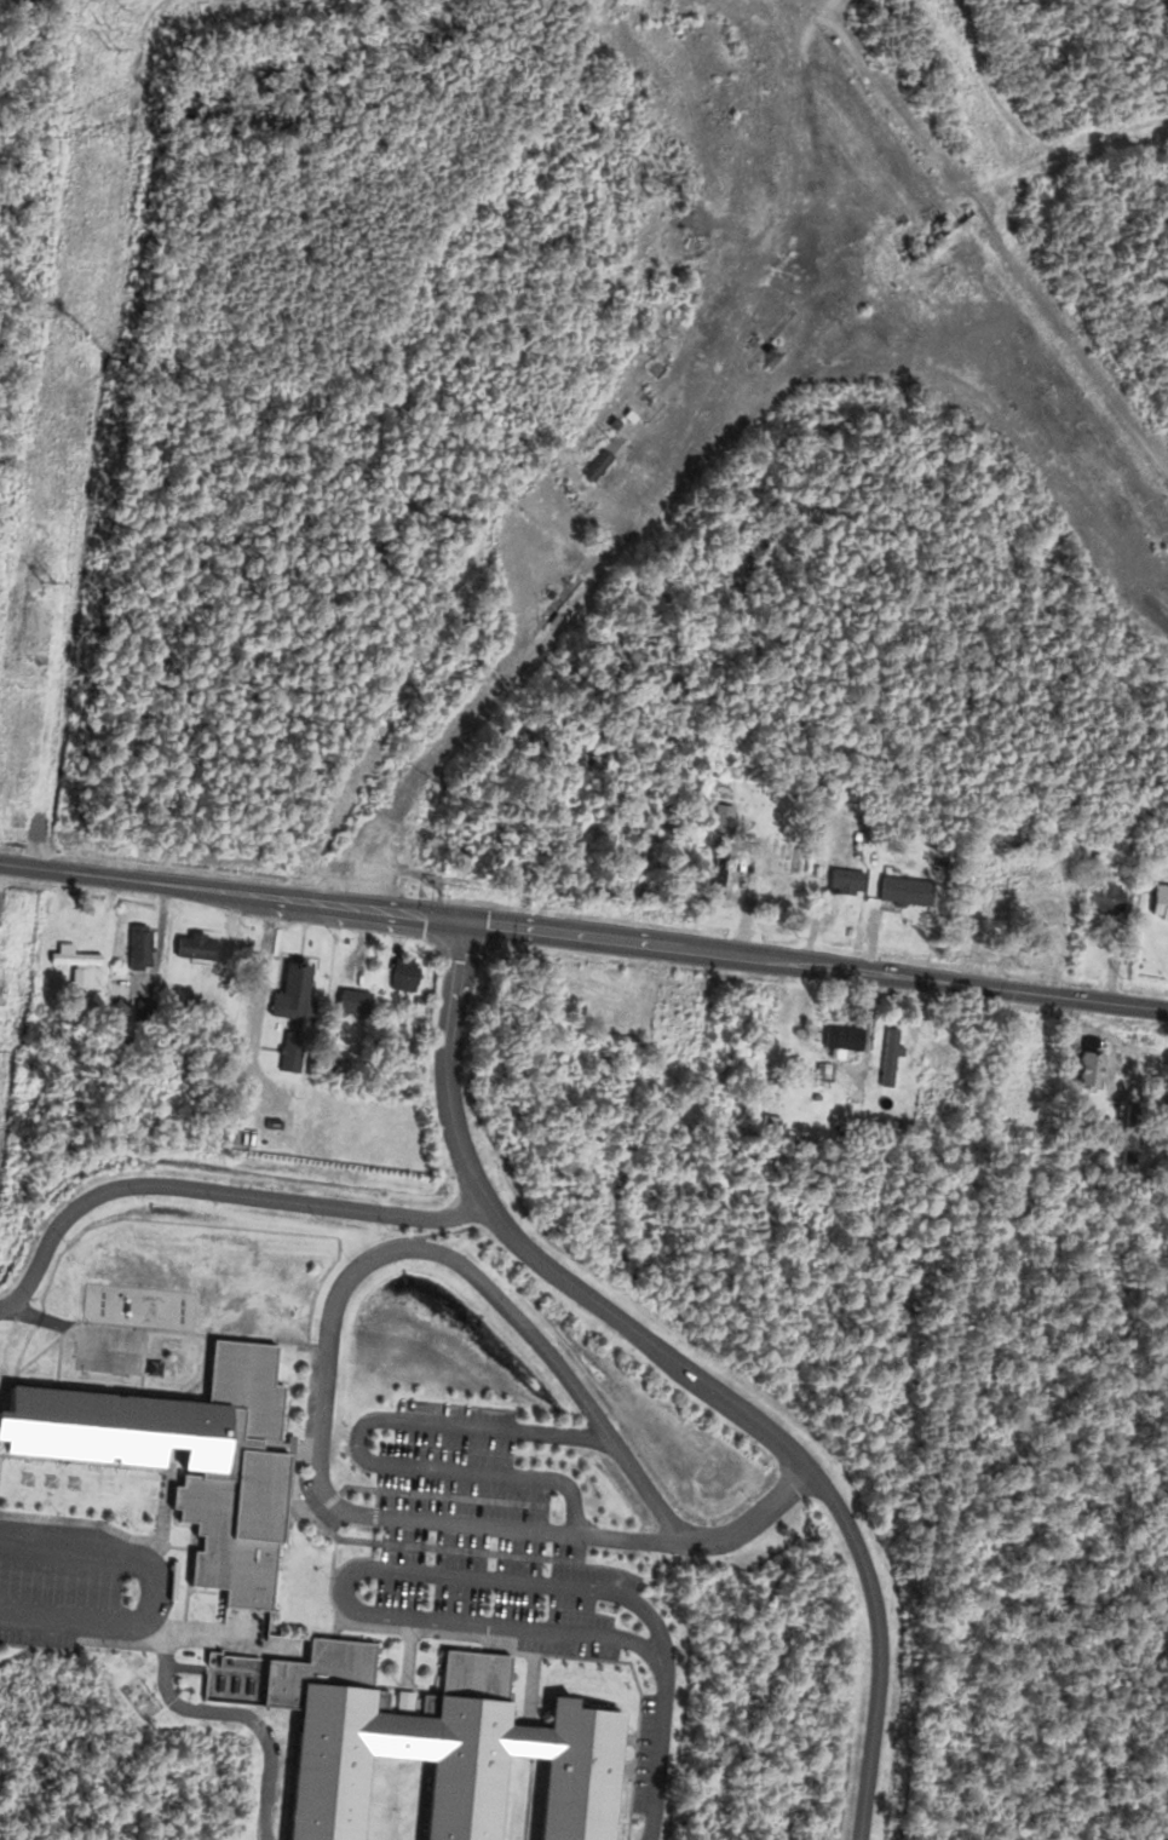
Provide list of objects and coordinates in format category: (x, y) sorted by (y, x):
power tower: (102, 27)
power tower: (115, 50)
railway: (983, 246)
building: (594, 467)
road: (573, 605)
power tower: (36, 675)
building: (844, 882)
building: (996, 887)
building: (1049, 892)
building: (772, 897)
building: (1105, 901)
building: (1160, 903)
traffic signals: (467, 921)
road: (583, 936)
building: (138, 949)
building: (192, 949)
building: (70, 964)
power tower: (1, 976)
building: (403, 978)
building: (351, 1005)
building: (290, 1013)
building: (602, 1017)
building: (841, 1039)
road: (445, 1051)
building: (1089, 1065)
building: (769, 1115)
road: (219, 1190)
road: (332, 1323)
road: (633, 1329)
road: (749, 1522)
building: (232, 1543)
road: (349, 1572)
road: (153, 1589)
road: (876, 1644)
road: (228, 1712)
road: (660, 1749)

